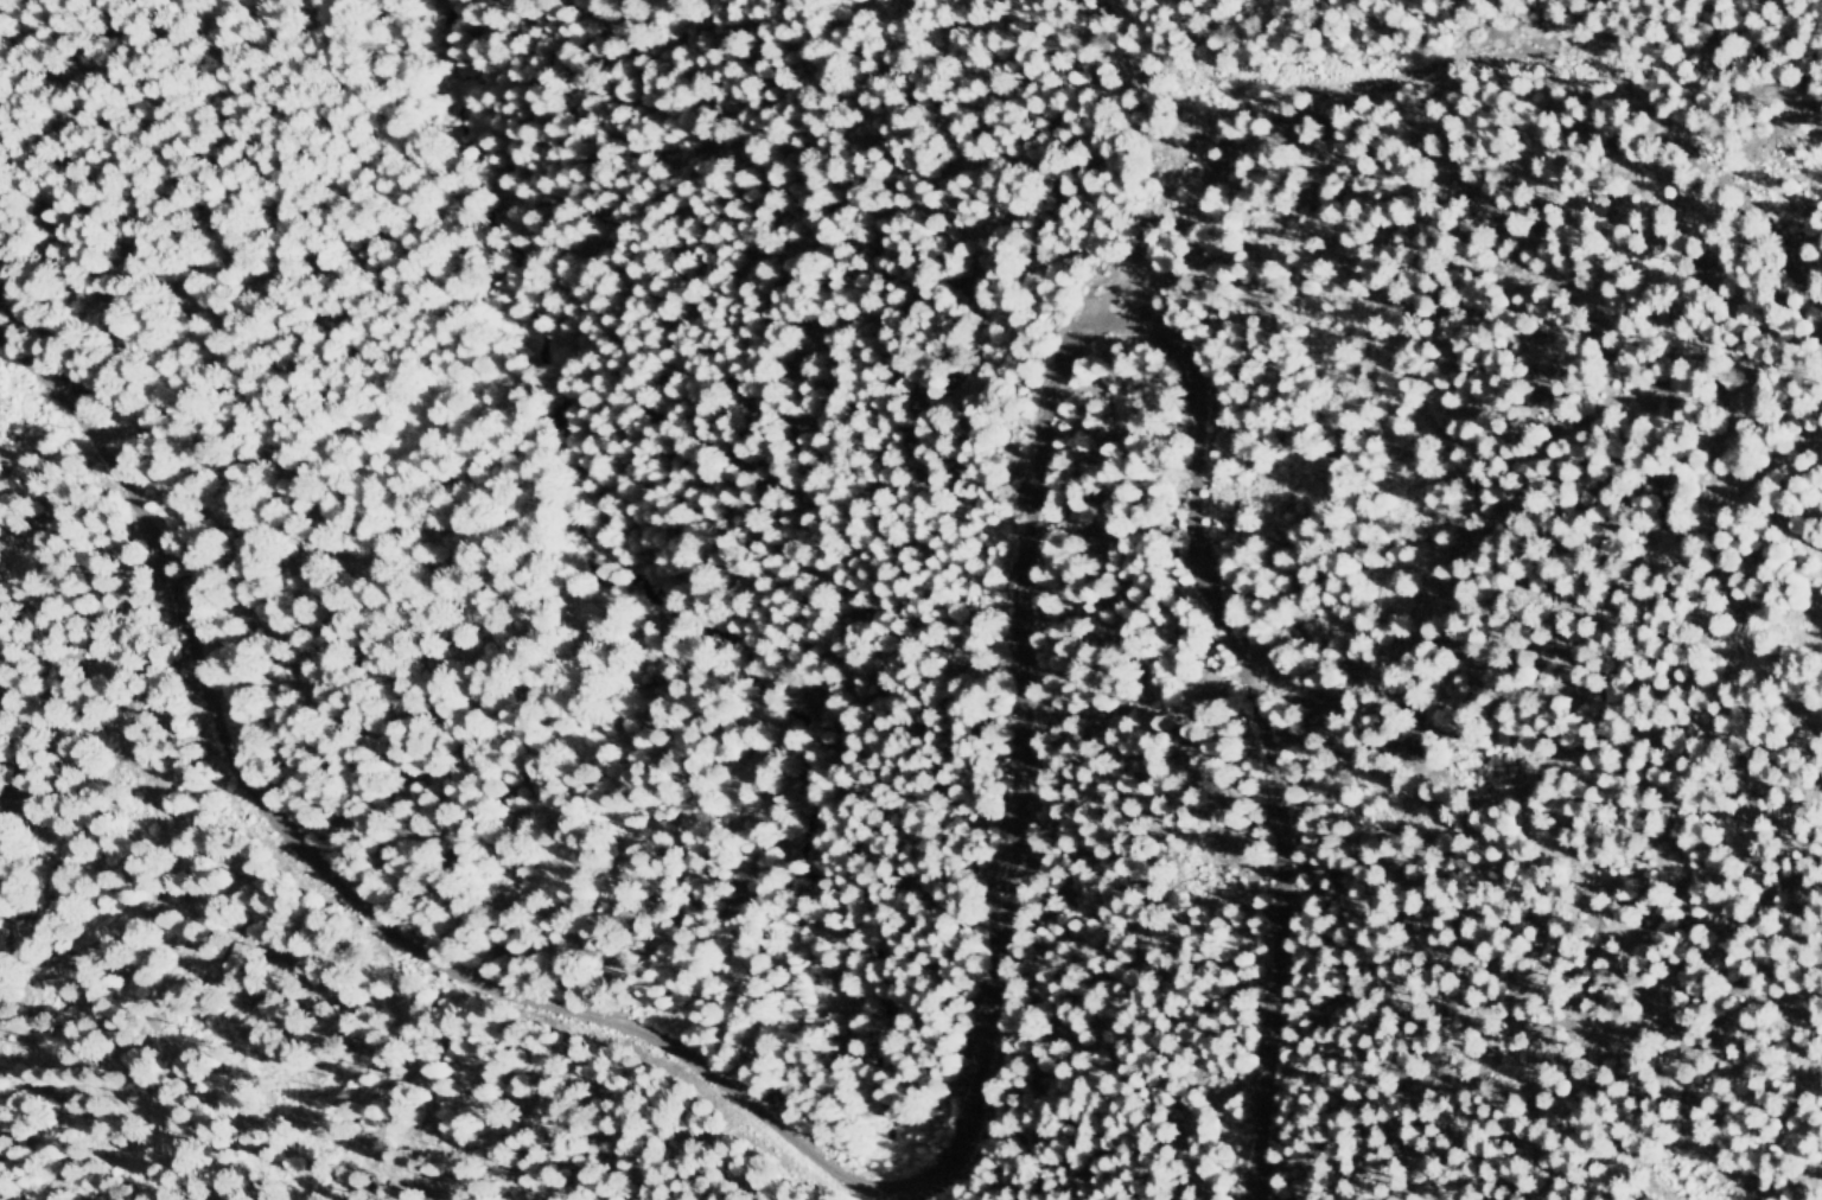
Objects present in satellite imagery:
road: (827, 994)

